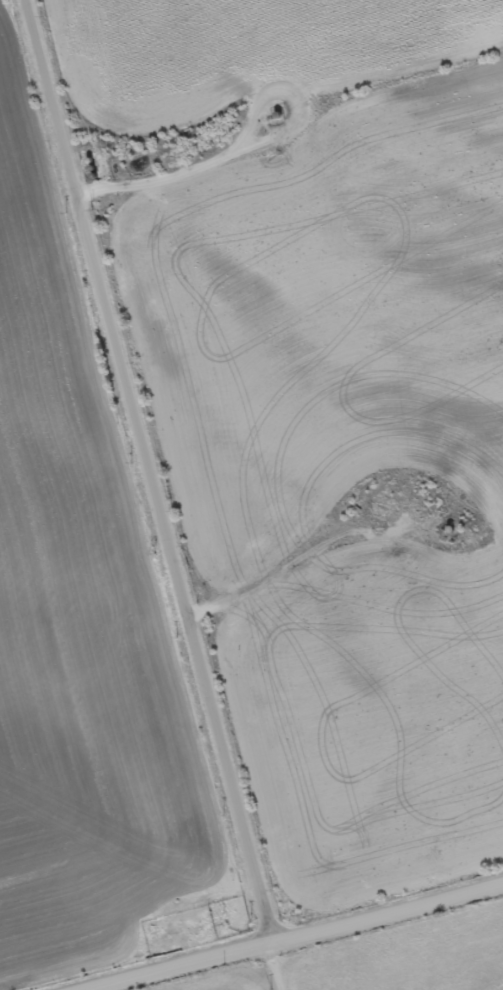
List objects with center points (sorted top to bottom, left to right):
road: (161, 478)
road: (330, 944)

